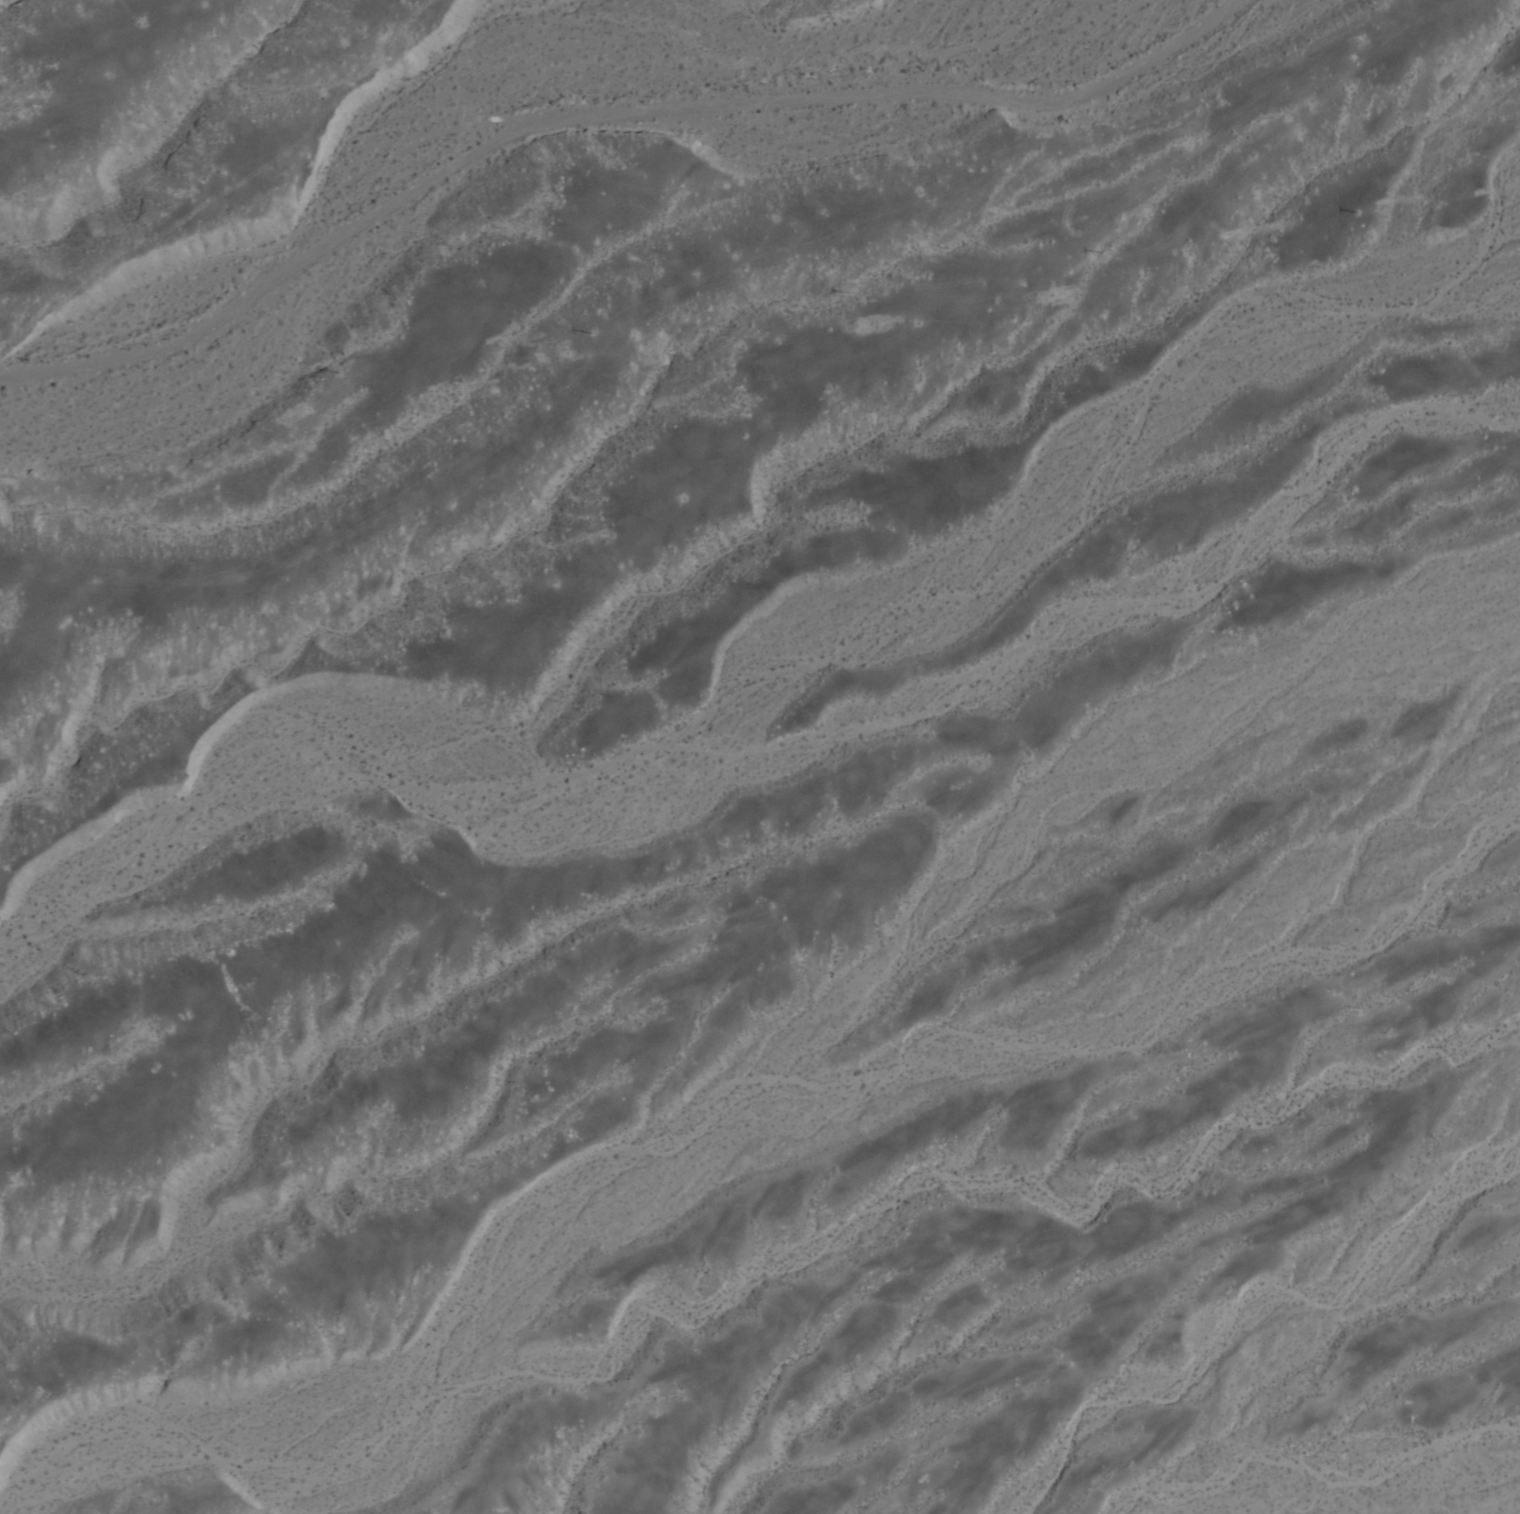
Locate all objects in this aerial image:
road: (601, 114)

